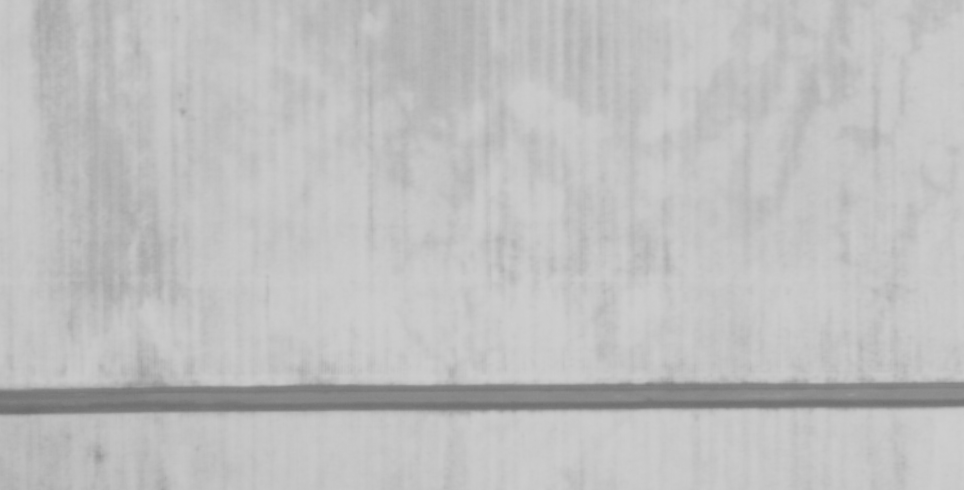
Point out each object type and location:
crop: (482, 245)

